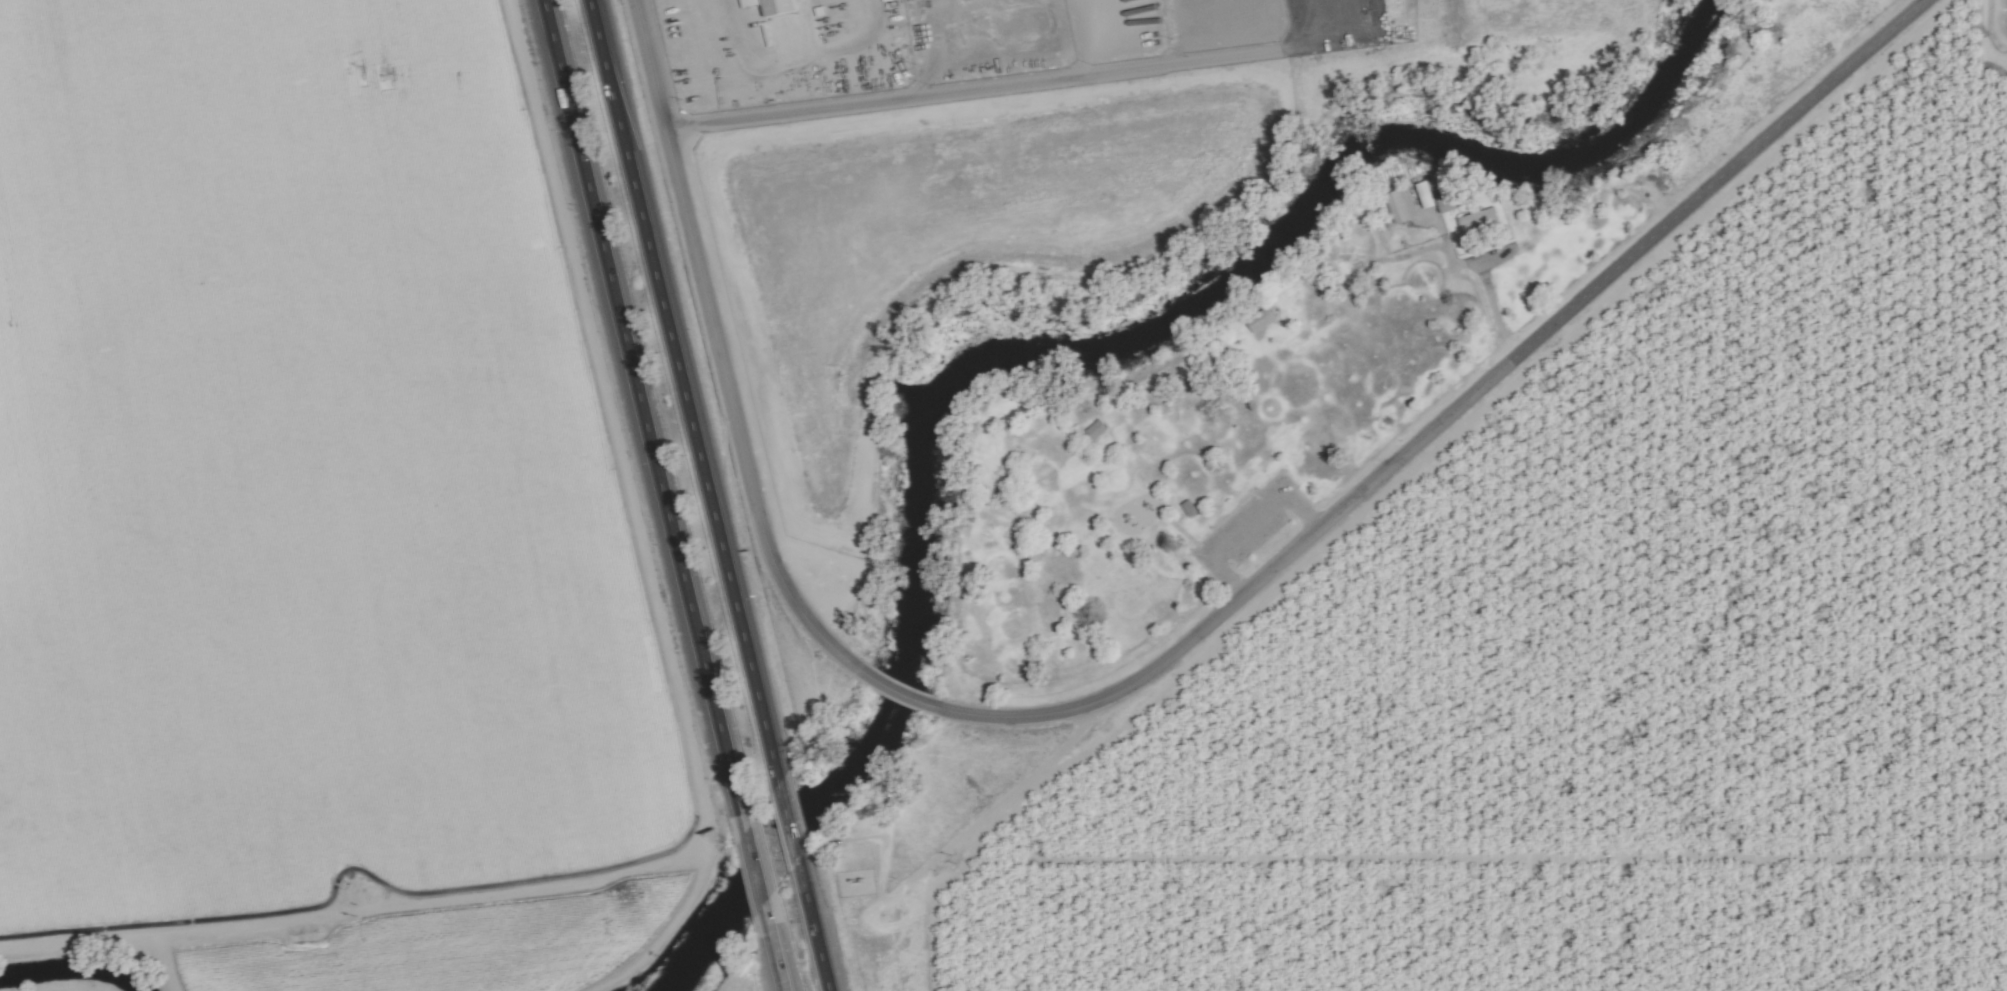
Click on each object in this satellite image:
building: (768, 6)
road: (1097, 34)
road: (927, 45)
road: (792, 50)
road: (1010, 81)
building: (1422, 194)
building: (1400, 204)
building: (1476, 220)
road: (1487, 289)
road: (716, 345)
road: (682, 390)
road: (1454, 409)
road: (642, 413)
building: (1094, 428)
crop: (1608, 658)
road: (893, 690)
road: (1000, 802)
road: (789, 827)
road: (755, 878)
road: (814, 933)
road: (775, 960)

